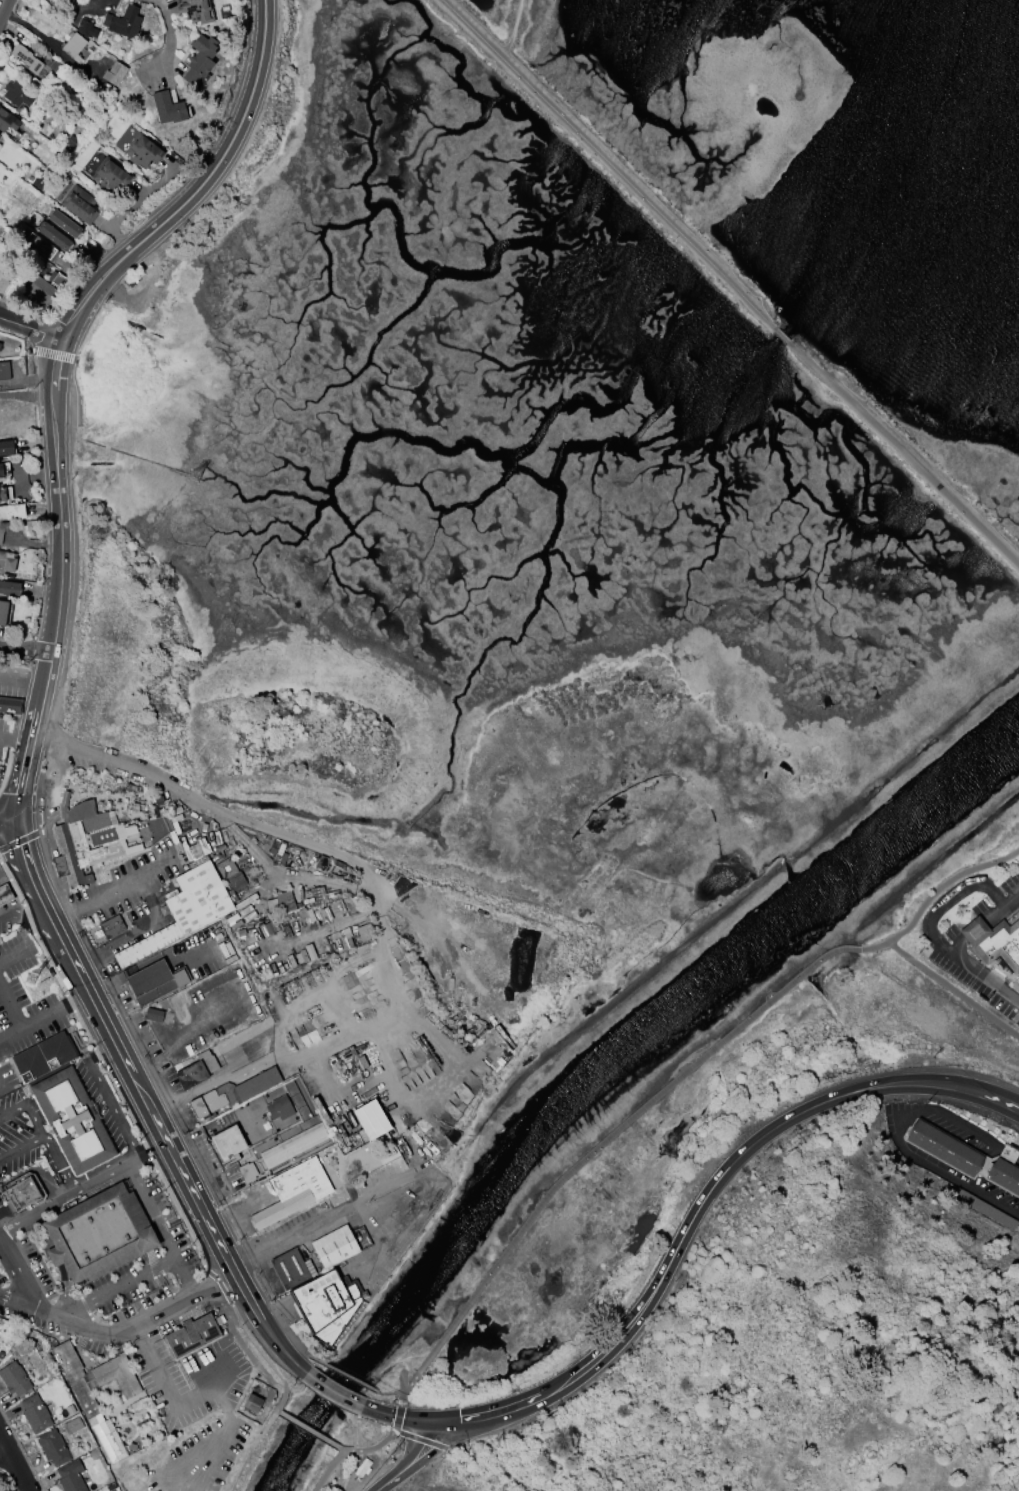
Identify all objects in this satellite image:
road: (3, 7)
building: (197, 10)
building: (124, 22)
building: (87, 29)
road: (172, 42)
building: (74, 46)
building: (27, 58)
building: (201, 58)
building: (115, 74)
building: (19, 93)
building: (169, 108)
building: (8, 120)
building: (144, 151)
road: (607, 165)
building: (111, 177)
building: (80, 204)
building: (65, 224)
building: (55, 236)
building: (41, 246)
building: (3, 275)
building: (44, 291)
road: (29, 330)
road: (28, 339)
road: (785, 340)
building: (0, 343)
road: (54, 354)
building: (4, 370)
road: (51, 374)
road: (76, 391)
building: (7, 448)
road: (906, 457)
building: (1, 469)
power tower: (196, 478)
building: (3, 494)
building: (12, 512)
building: (1, 535)
building: (7, 562)
building: (10, 588)
building: (3, 612)
road: (25, 649)
road: (22, 676)
building: (10, 704)
parking lot: (2, 733)
road: (15, 739)
building: (64, 798)
road: (199, 805)
building: (81, 810)
building: (63, 813)
traffic signals: (17, 819)
building: (111, 819)
road: (8, 821)
building: (94, 822)
building: (111, 837)
road: (19, 842)
building: (80, 853)
road: (13, 871)
building: (229, 874)
road: (36, 891)
building: (4, 893)
gas station: (4, 893)
road: (935, 896)
road: (97, 902)
building: (186, 912)
road: (20, 917)
road: (50, 920)
road: (930, 922)
building: (112, 926)
road: (137, 934)
building: (994, 942)
road: (15, 954)
power tower: (31, 982)
building: (158, 982)
road: (954, 989)
road: (11, 1006)
parking lot: (22, 1010)
building: (154, 1015)
road: (43, 1016)
road: (191, 1036)
building: (47, 1054)
building: (194, 1075)
road: (211, 1082)
building: (238, 1092)
road: (106, 1099)
parking lot: (111, 1104)
building: (283, 1107)
building: (77, 1119)
building: (371, 1120)
road: (893, 1127)
road: (36, 1128)
road: (613, 1132)
parking lot: (31, 1137)
building: (228, 1141)
building: (942, 1147)
building: (299, 1149)
road: (172, 1155)
road: (60, 1164)
building: (248, 1172)
building: (1004, 1173)
road: (387, 1182)
road: (717, 1183)
road: (84, 1191)
building: (296, 1192)
building: (24, 1193)
building: (100, 1231)
building: (338, 1246)
road: (159, 1263)
building: (295, 1268)
road: (184, 1279)
parking lot: (109, 1282)
building: (323, 1300)
road: (19, 1303)
road: (102, 1329)
building: (194, 1335)
road: (238, 1340)
road: (295, 1344)
road: (258, 1349)
road: (346, 1377)
building: (15, 1379)
road: (280, 1386)
road: (398, 1391)
road: (335, 1394)
road: (174, 1396)
building: (252, 1403)
road: (221, 1406)
building: (92, 1407)
road: (353, 1412)
building: (35, 1414)
road: (403, 1419)
road: (467, 1422)
building: (73, 1425)
traffic signals: (442, 1425)
road: (308, 1428)
building: (52, 1447)
road: (251, 1448)
road: (341, 1449)
road: (368, 1450)
road: (191, 1454)
road: (213, 1457)
road: (16, 1458)
road: (413, 1460)
building: (71, 1477)

